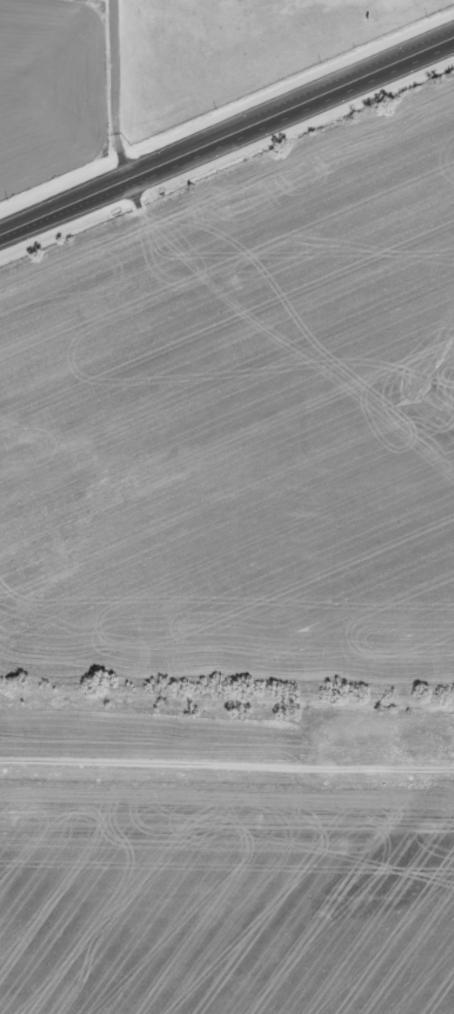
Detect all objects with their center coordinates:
road: (227, 130)

